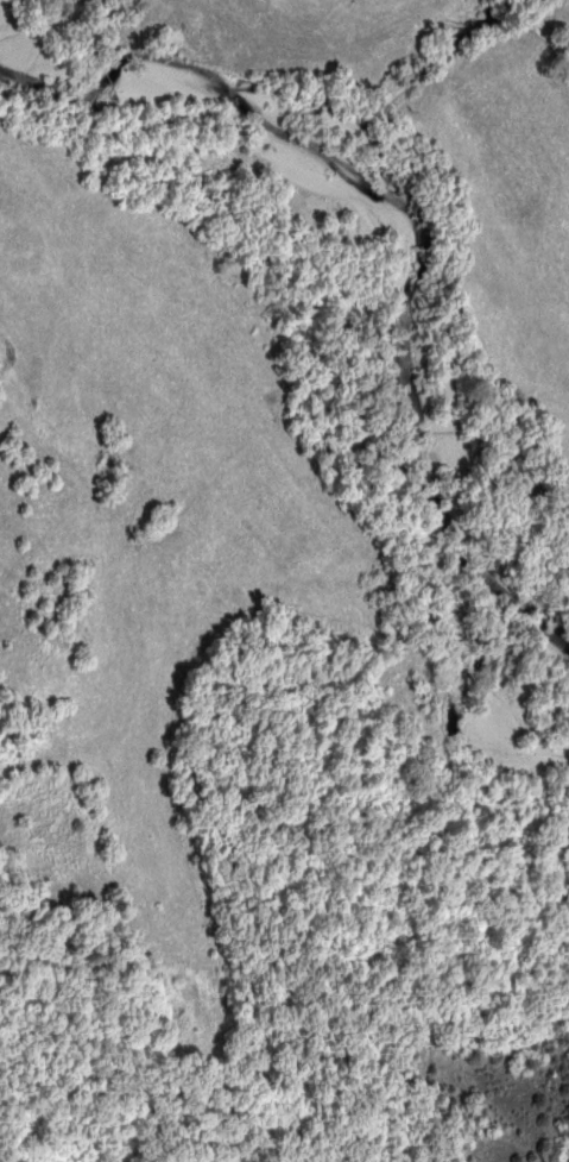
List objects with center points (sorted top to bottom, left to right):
road: (546, 27)

